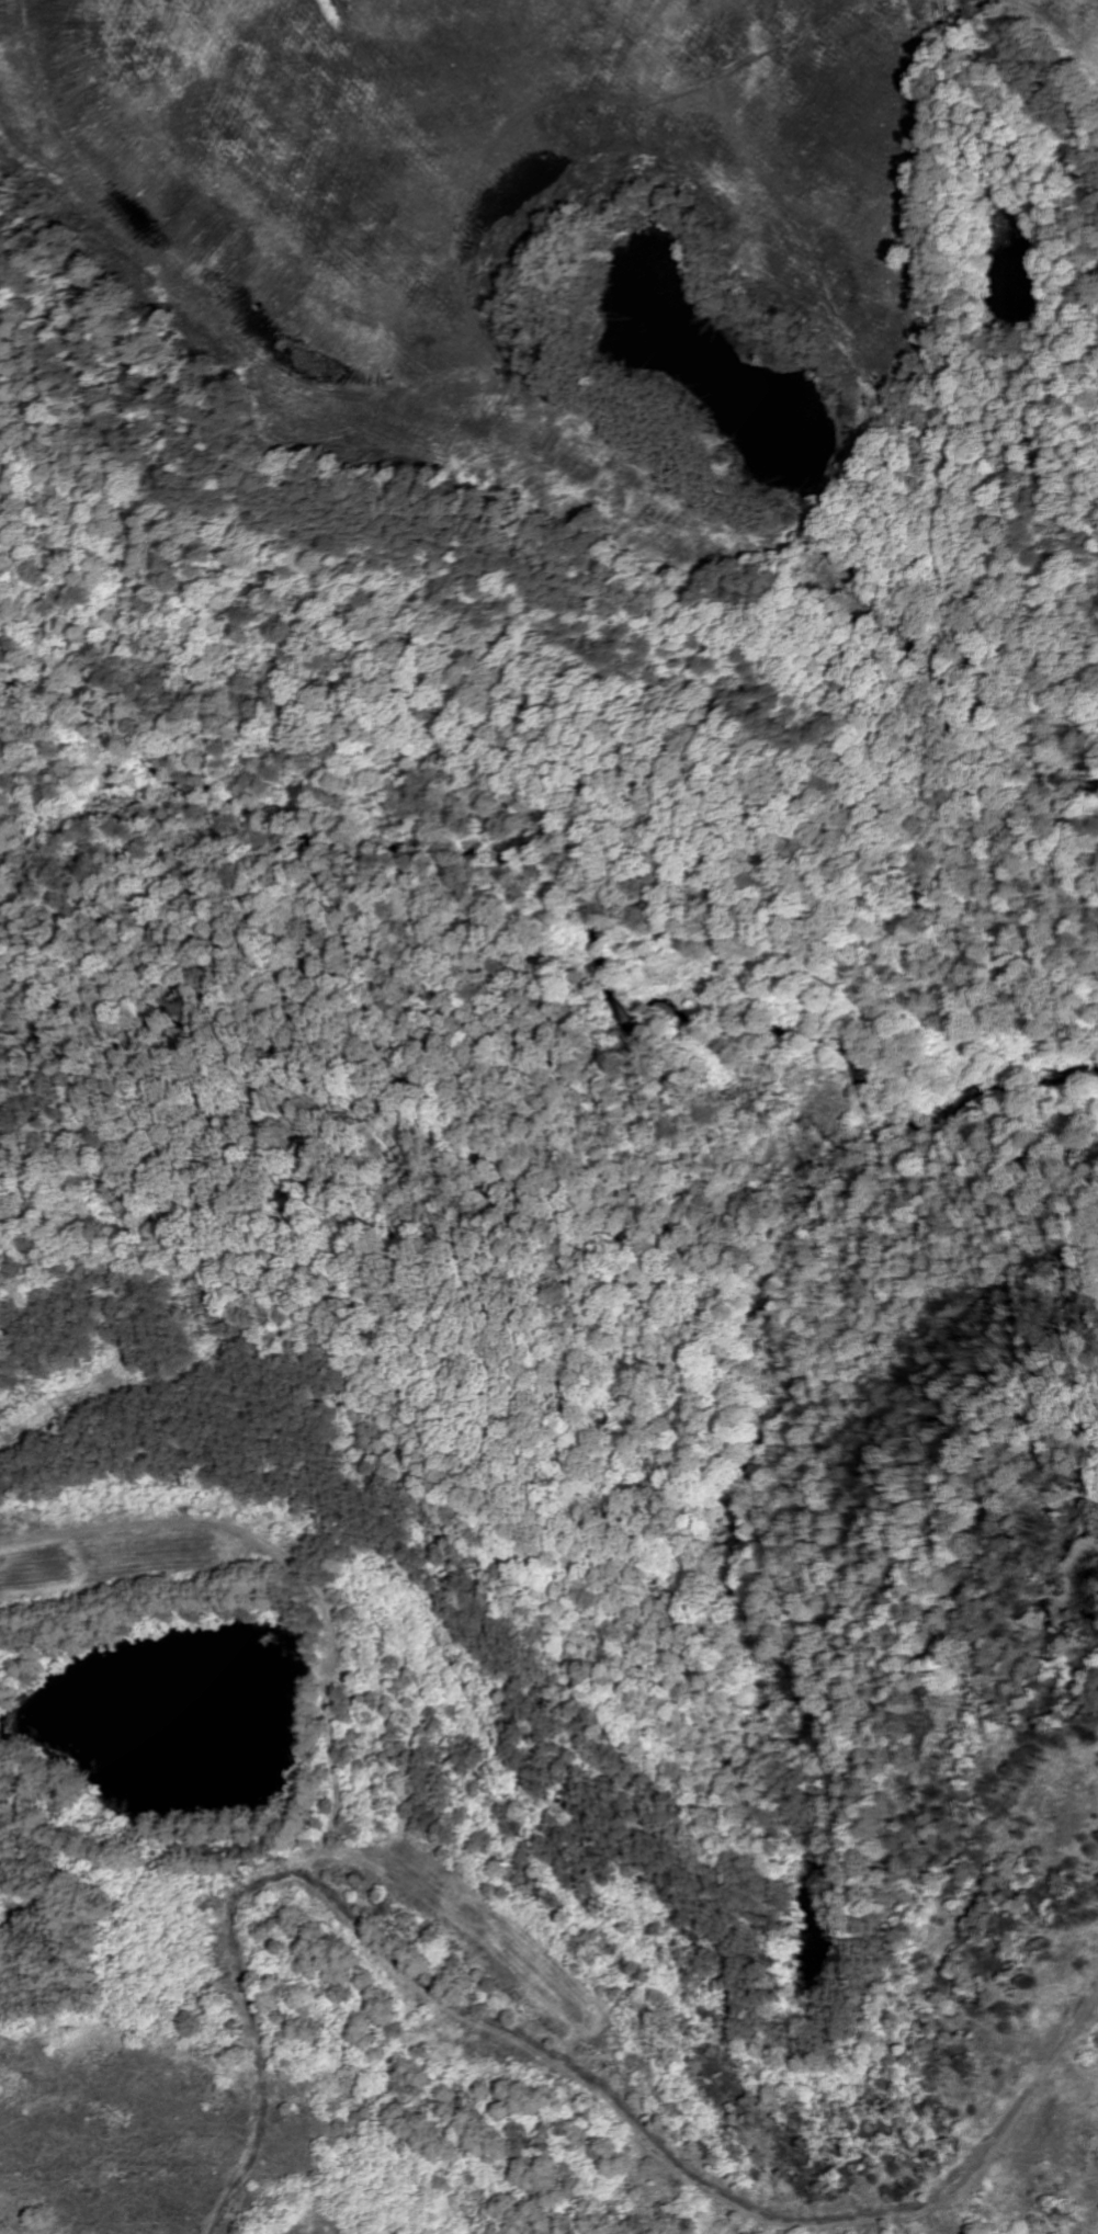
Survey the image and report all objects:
road: (604, 496)
road: (321, 1784)
road: (690, 2178)

